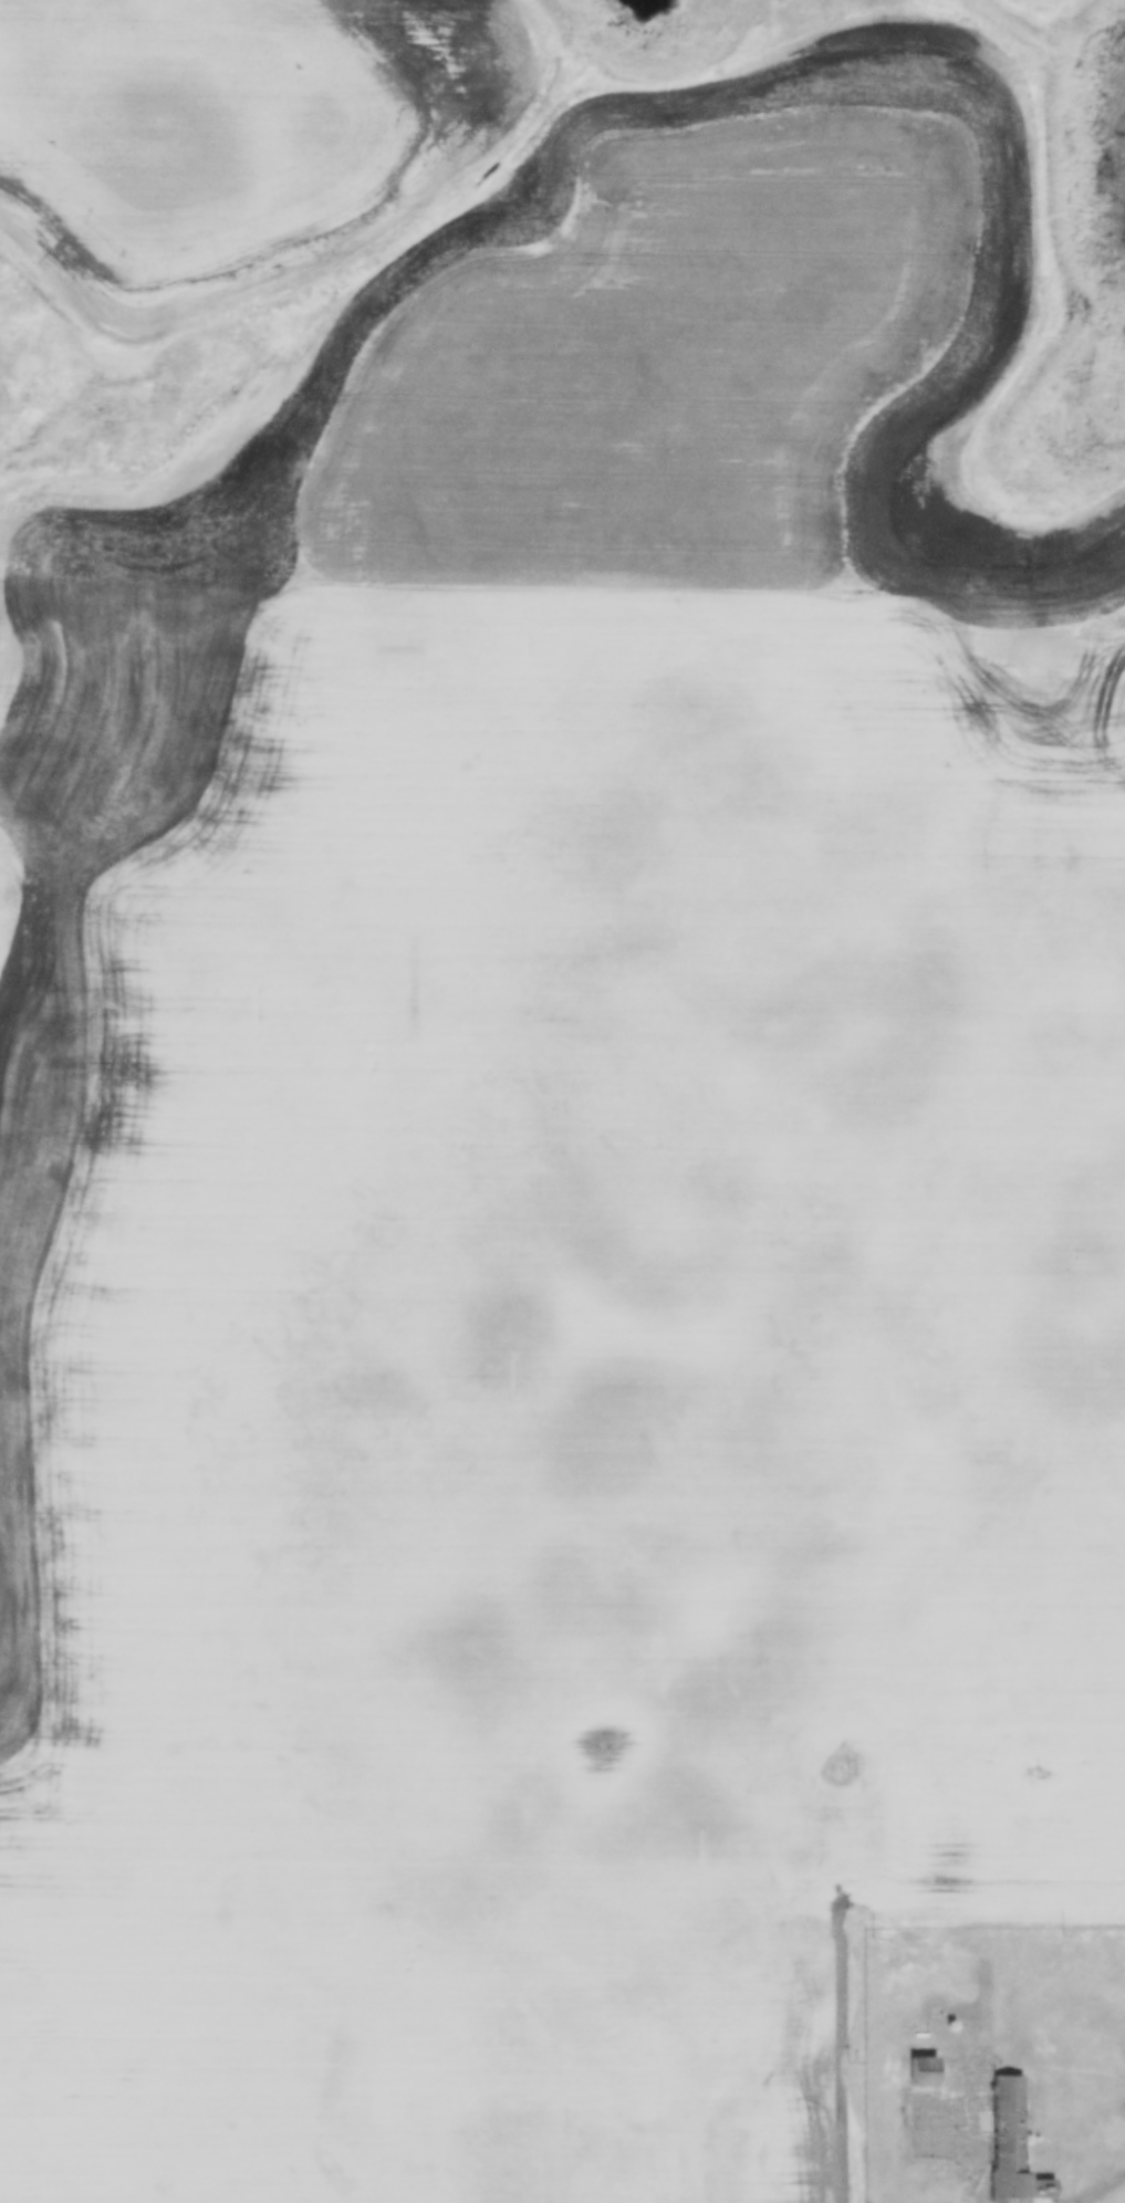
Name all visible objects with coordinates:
building: (924, 2074)
building: (1007, 2136)
road: (982, 2143)

